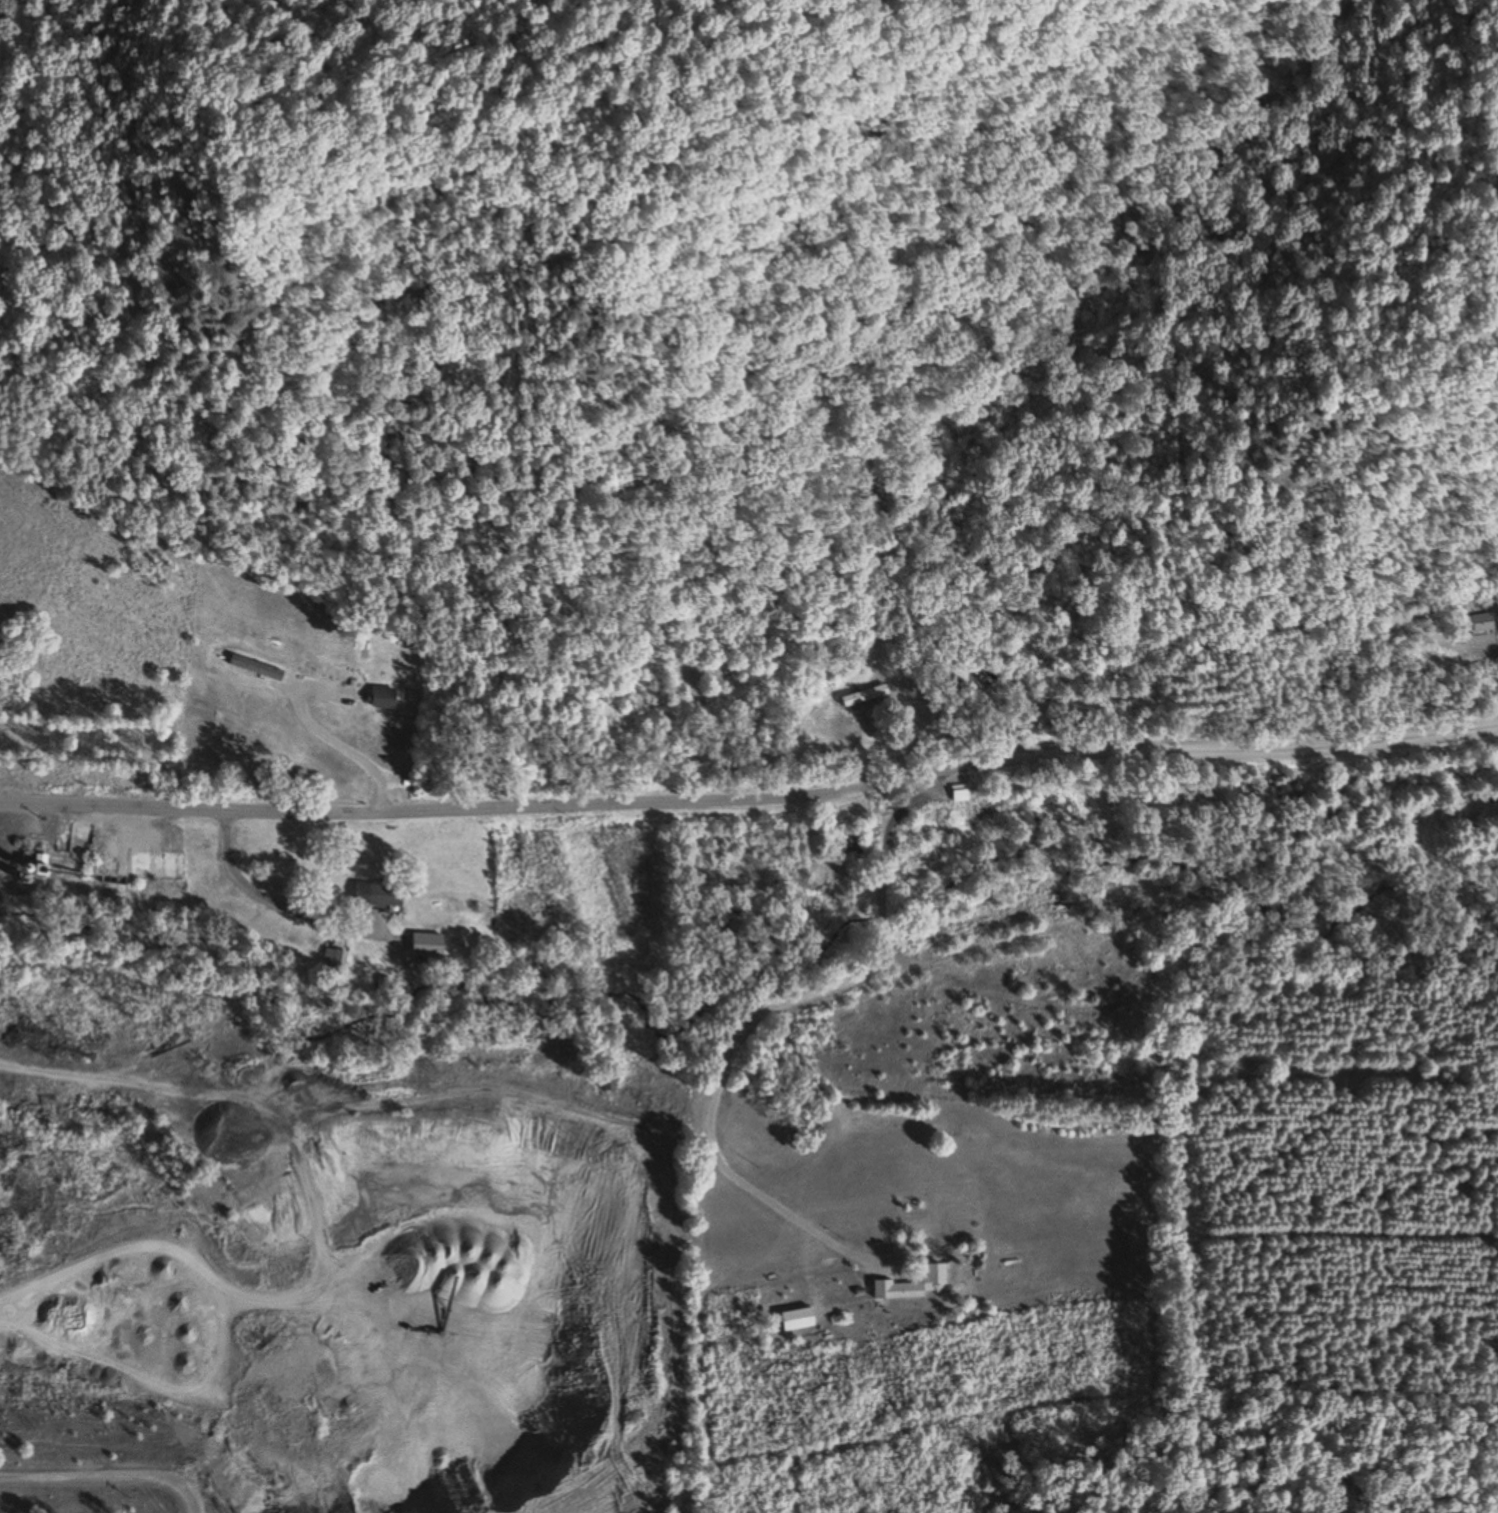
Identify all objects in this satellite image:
building: (1483, 623)
building: (256, 668)
building: (959, 676)
building: (865, 693)
building: (381, 698)
building: (958, 794)
road: (751, 801)
building: (851, 843)
building: (38, 866)
building: (384, 895)
building: (424, 946)
building: (332, 960)
building: (1115, 1009)
building: (606, 1081)
quarry: (301, 1222)
building: (911, 1285)
building: (795, 1319)
road: (95, 1477)

